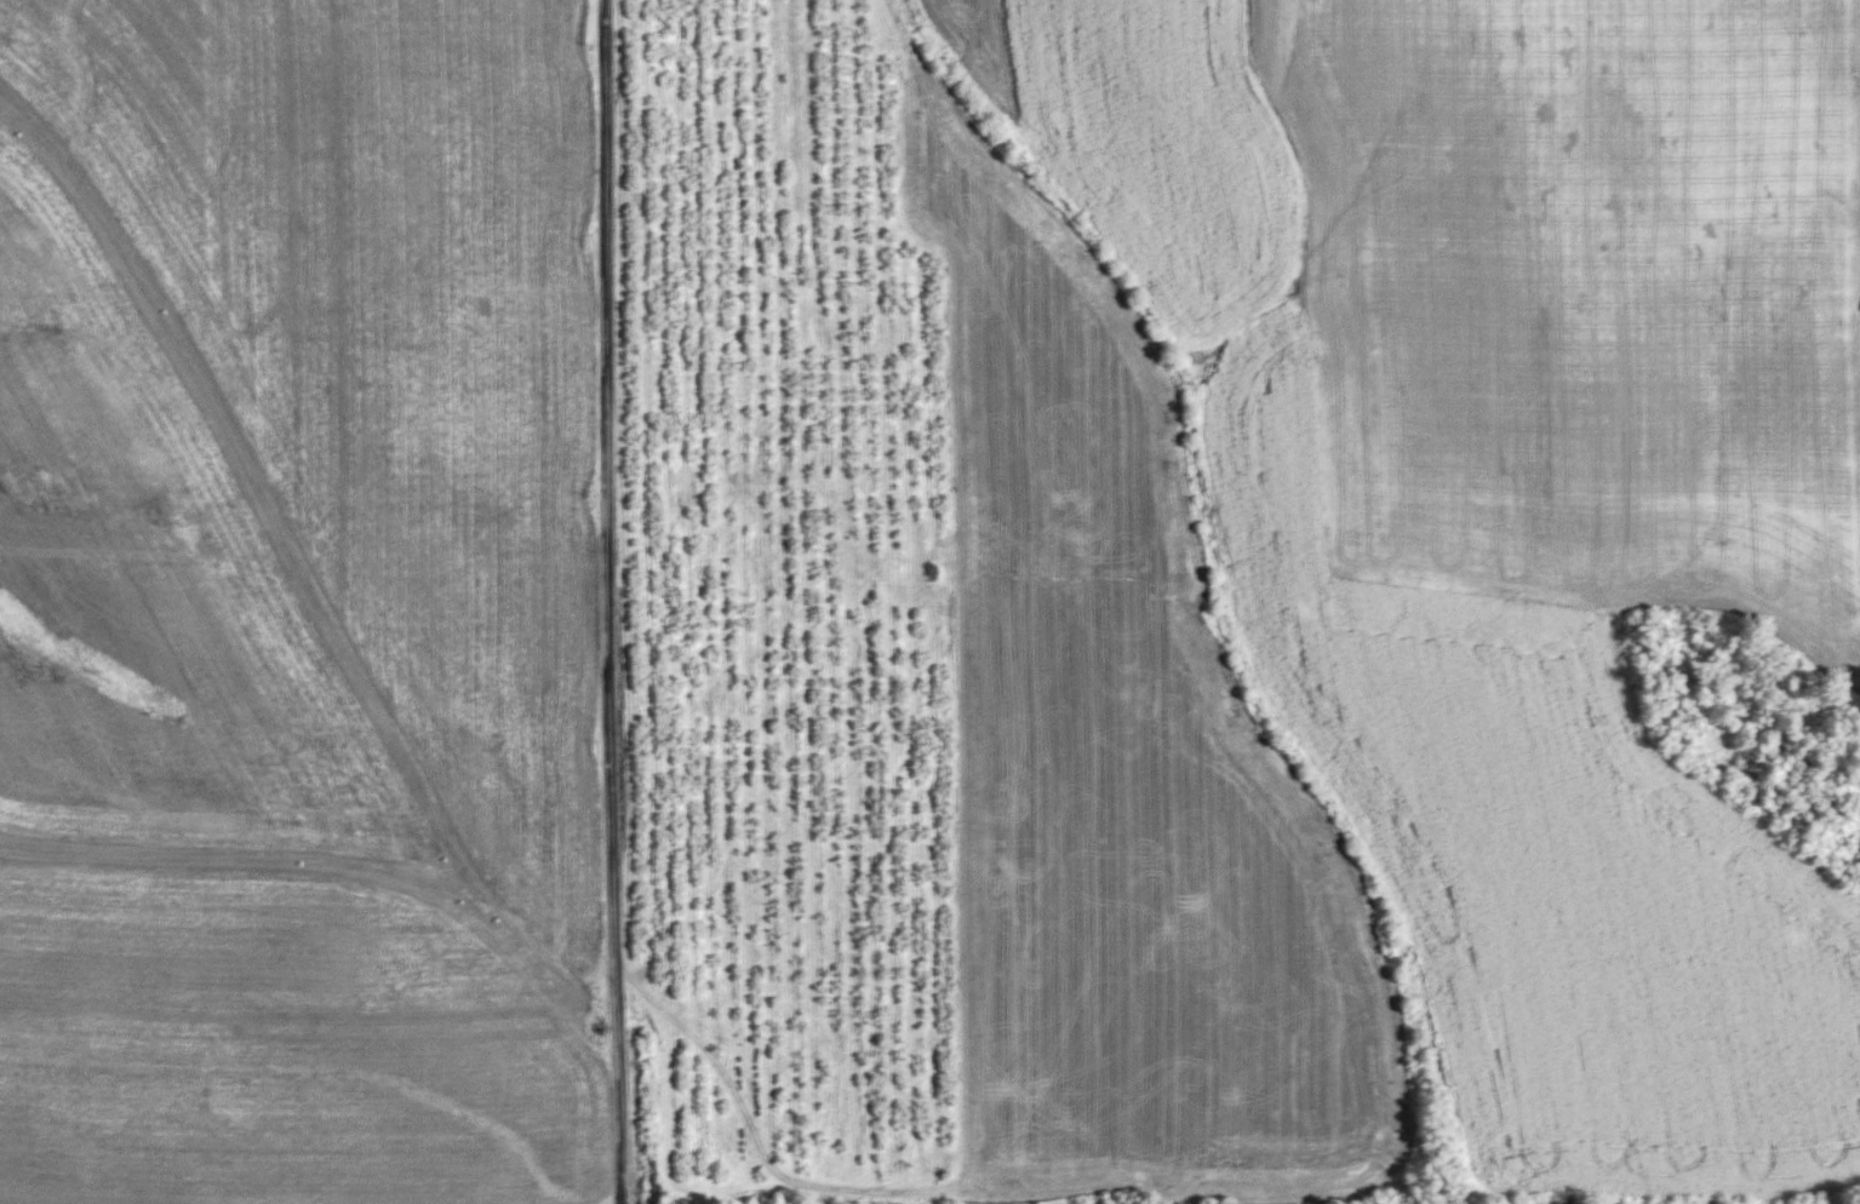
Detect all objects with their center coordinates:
road: (612, 602)

